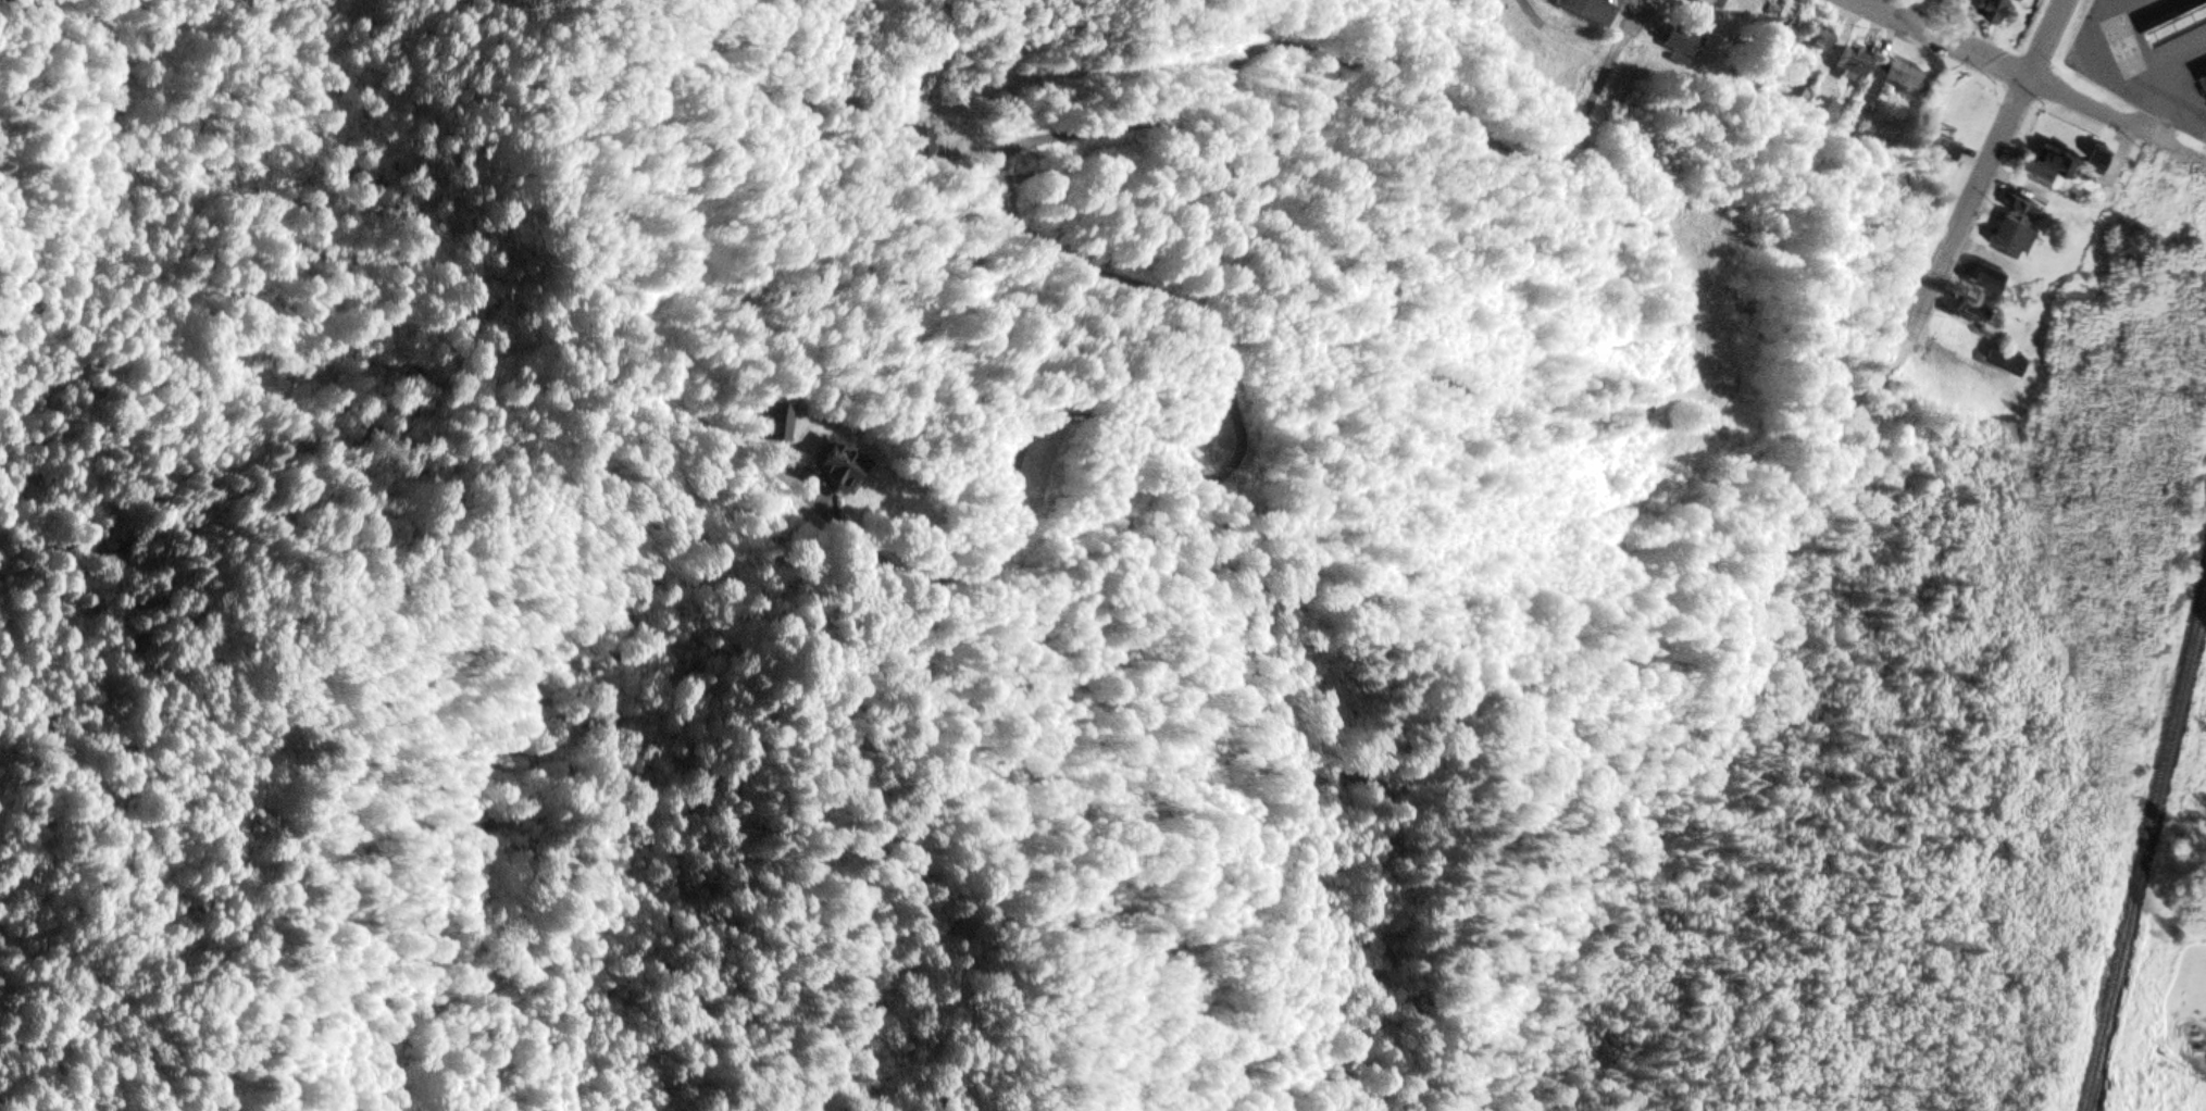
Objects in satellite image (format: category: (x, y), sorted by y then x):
building: (1712, 3)
building: (1997, 9)
building: (1588, 10)
building: (2178, 23)
building: (1778, 33)
building: (1818, 37)
building: (1684, 41)
building: (1853, 62)
building: (2205, 73)
building: (1904, 74)
building: (2204, 77)
road: (2033, 82)
building: (1870, 86)
building: (1792, 99)
building: (1820, 110)
building: (1947, 148)
road: (1994, 150)
building: (2053, 166)
road: (1609, 188)
building: (2016, 238)
building: (1989, 275)
building: (1978, 312)
building: (2009, 363)
building: (837, 467)
road: (1655, 682)
railway: (2144, 849)

